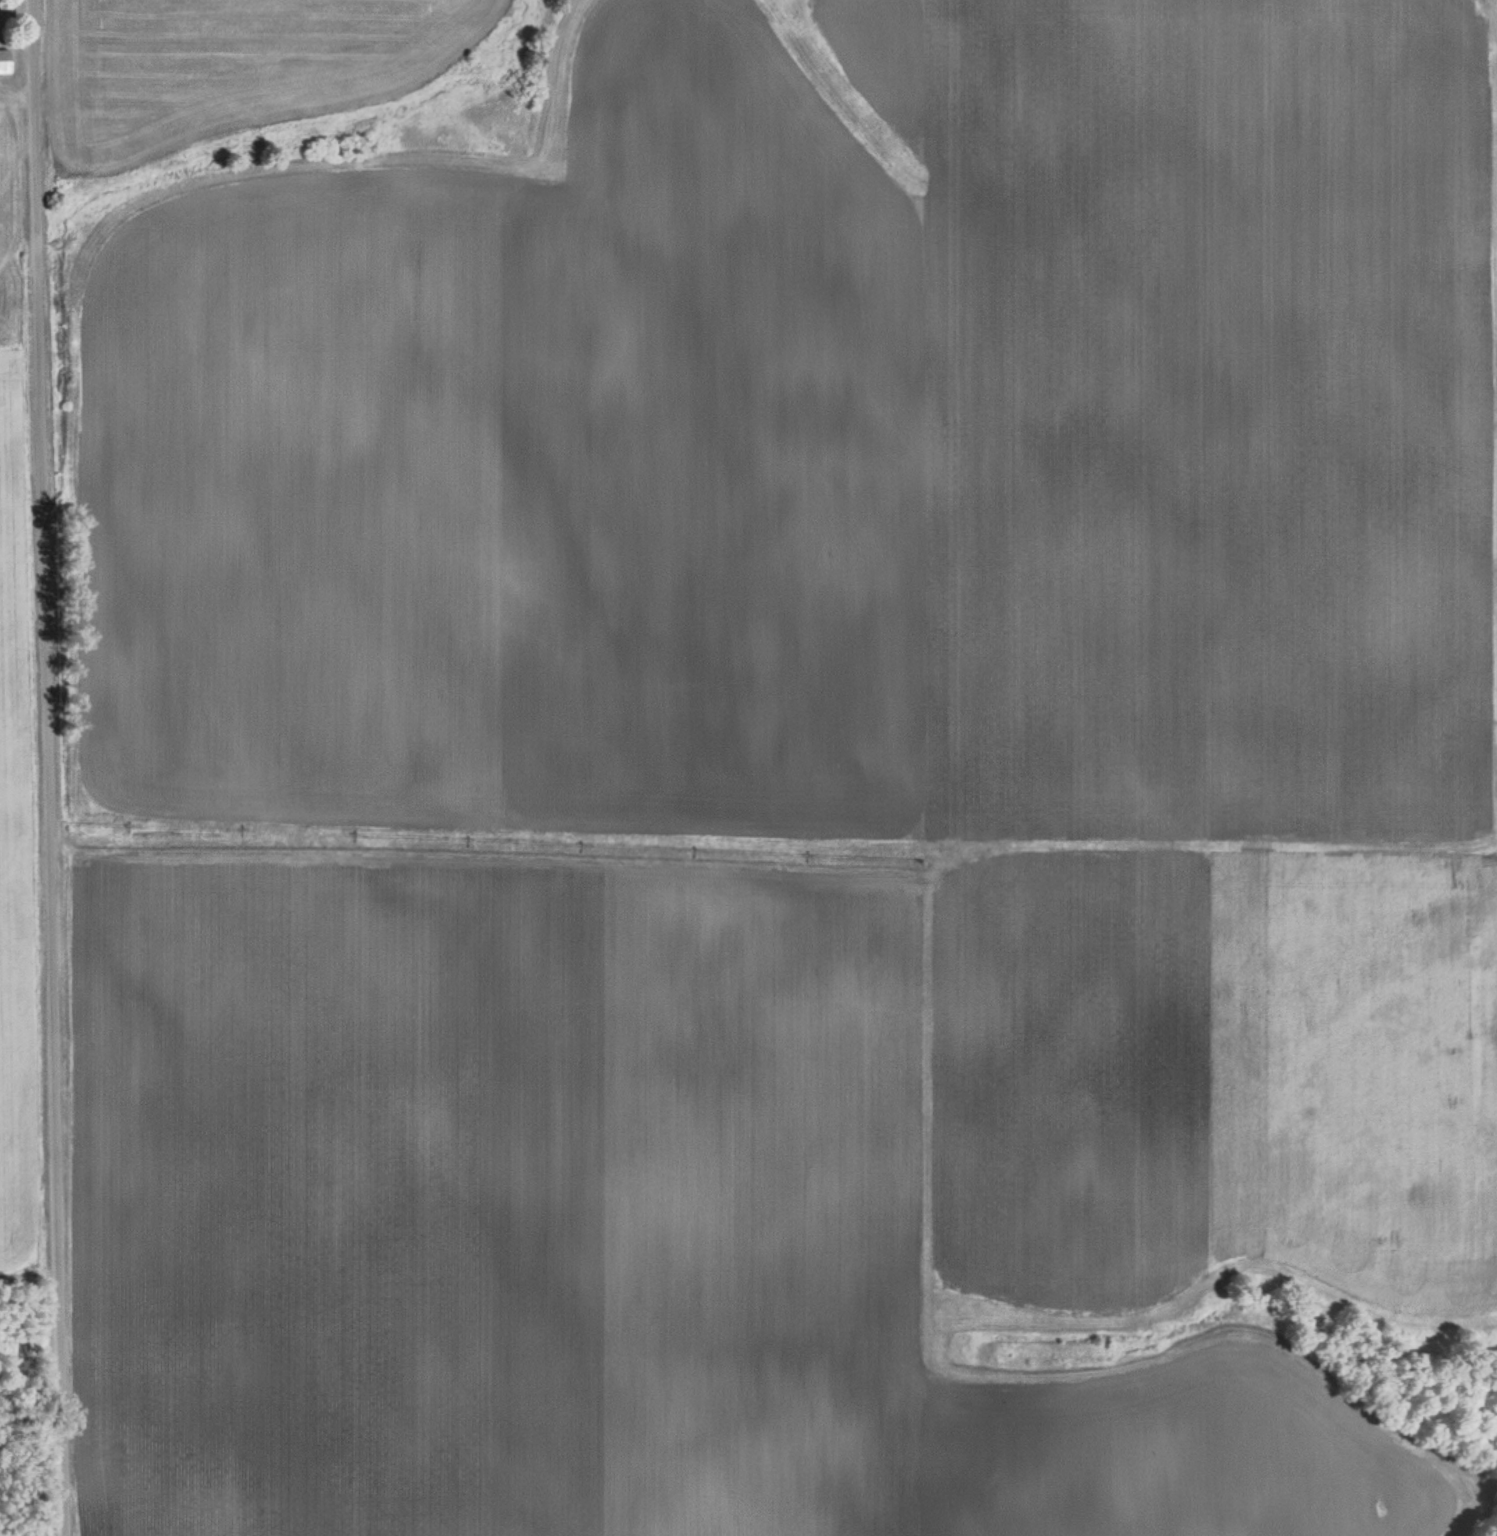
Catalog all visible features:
building: (4, 61)
road: (48, 767)

